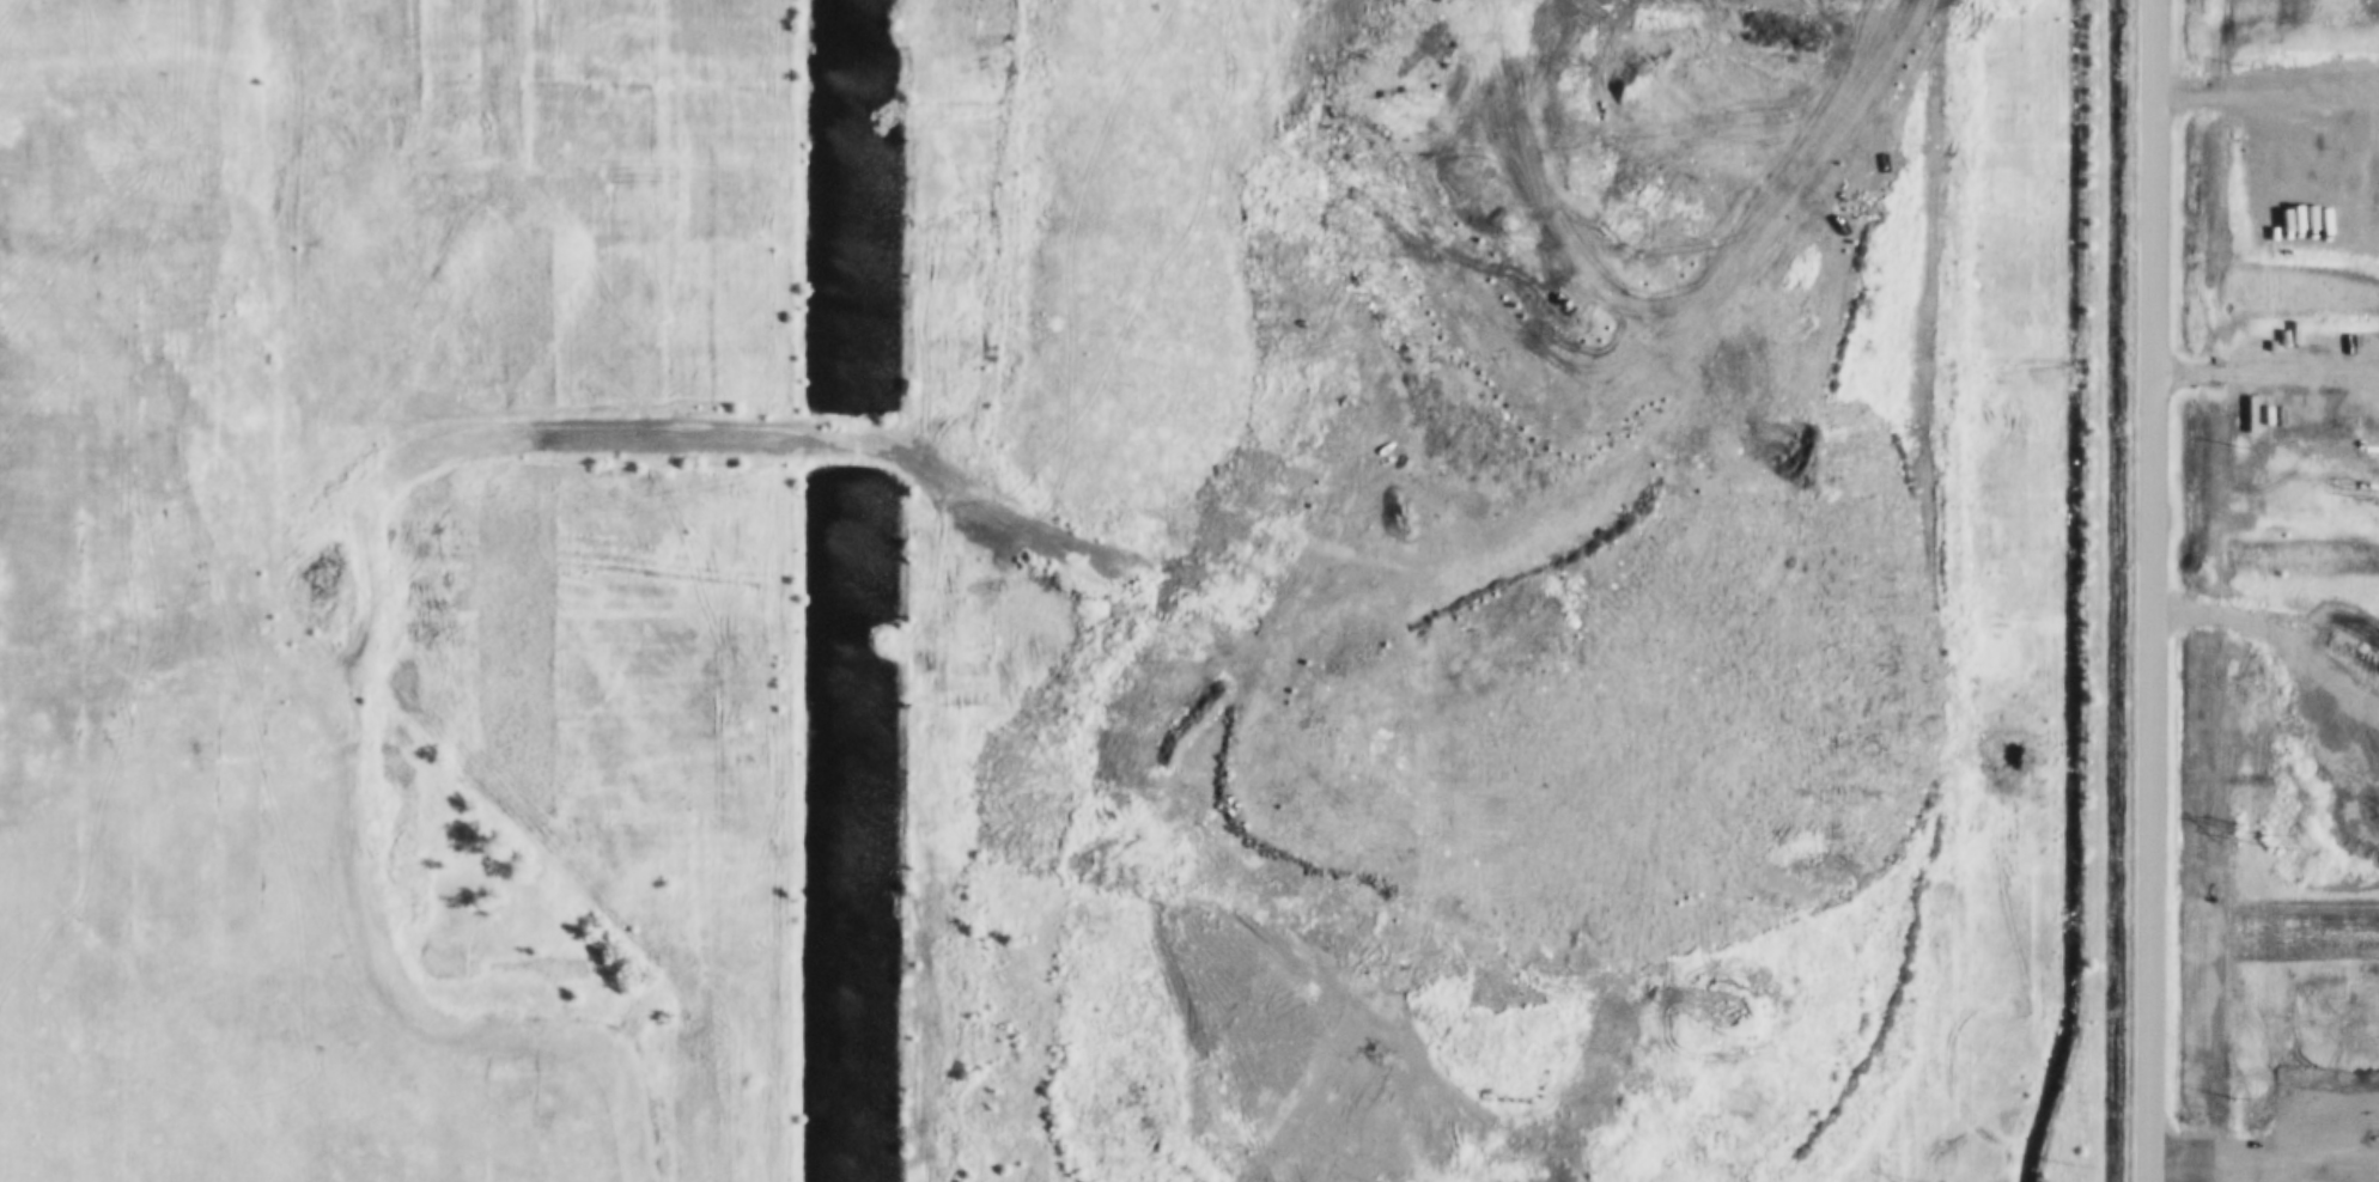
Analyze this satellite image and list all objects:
building: (2349, 358)
building: (2373, 376)
road: (2153, 591)
power tower: (2269, 841)

